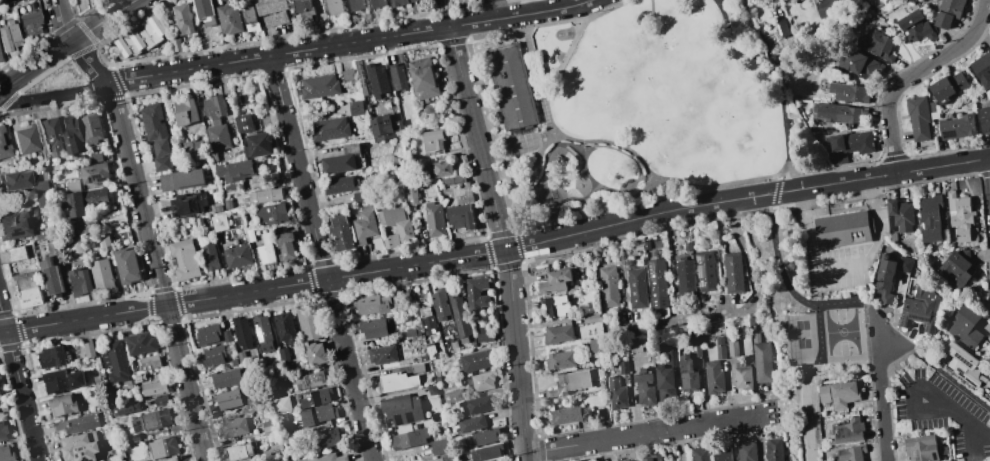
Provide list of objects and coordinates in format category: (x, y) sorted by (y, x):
building: (221, 0)
building: (414, 0)
building: (421, 0)
building: (751, 0)
building: (932, 0)
building: (6, 1)
building: (398, 2)
building: (377, 3)
road: (570, 3)
building: (878, 3)
building: (356, 5)
building: (912, 5)
road: (535, 6)
building: (334, 7)
building: (829, 7)
building: (203, 9)
road: (494, 9)
building: (272, 11)
building: (303, 11)
building: (948, 12)
building: (250, 18)
building: (182, 19)
building: (229, 19)
road: (102, 20)
building: (29, 22)
road: (61, 22)
building: (781, 27)
building: (915, 27)
building: (8, 36)
building: (141, 37)
road: (345, 43)
building: (876, 45)
building: (176, 46)
road: (566, 51)
building: (0, 59)
building: (859, 63)
road: (86, 64)
road: (36, 66)
building: (982, 69)
road: (911, 74)
building: (347, 76)
building: (398, 77)
building: (422, 79)
building: (377, 80)
building: (319, 87)
building: (947, 87)
road: (779, 88)
building: (516, 89)
building: (847, 92)
road: (51, 95)
building: (355, 108)
park: (639, 111)
building: (185, 112)
building: (839, 113)
building: (919, 116)
road: (547, 117)
building: (984, 118)
building: (216, 123)
building: (243, 123)
building: (956, 127)
building: (92, 128)
building: (380, 128)
building: (329, 129)
building: (71, 133)
rooftop solar panel: (948, 135)
building: (51, 136)
building: (156, 137)
rooftop solar panel: (3, 139)
building: (25, 140)
building: (432, 140)
road: (608, 143)
building: (3, 145)
building: (258, 145)
building: (849, 146)
rooftop solar panel: (2, 147)
building: (195, 148)
building: (96, 157)
building: (213, 158)
building: (341, 160)
building: (441, 168)
building: (235, 170)
building: (93, 173)
rooftop solar panel: (97, 178)
road: (859, 179)
building: (14, 180)
building: (181, 180)
building: (452, 180)
building: (42, 185)
building: (342, 185)
building: (657, 187)
building: (233, 188)
road: (640, 192)
building: (411, 193)
building: (266, 195)
building: (360, 196)
building: (83, 198)
building: (44, 200)
building: (227, 204)
building: (187, 205)
building: (271, 213)
building: (460, 216)
building: (899, 216)
building: (929, 217)
building: (960, 217)
building: (433, 219)
building: (198, 222)
building: (219, 222)
road: (616, 222)
building: (396, 225)
building: (364, 226)
building: (19, 227)
building: (842, 230)
rooftop solar panel: (18, 234)
building: (341, 234)
building: (250, 235)
road: (502, 241)
building: (104, 242)
building: (285, 246)
building: (637, 246)
building: (687, 246)
building: (52, 248)
building: (266, 250)
building: (16, 253)
building: (236, 256)
building: (210, 257)
road: (321, 258)
building: (184, 259)
rooftop solar panel: (699, 259)
building: (638, 262)
building: (126, 265)
parking lot: (841, 267)
road: (841, 269)
building: (704, 270)
road: (157, 271)
rooftop solar panel: (651, 271)
building: (954, 271)
rooftop solar panel: (701, 272)
building: (732, 273)
building: (101, 275)
building: (890, 276)
road: (752, 277)
building: (52, 278)
building: (684, 278)
building: (78, 280)
rooftop solar panel: (653, 280)
building: (554, 281)
building: (656, 283)
rooftop solar panel: (701, 285)
building: (608, 286)
building: (636, 288)
building: (27, 290)
road: (252, 290)
building: (476, 294)
road: (858, 301)
building: (371, 304)
building: (440, 304)
building: (556, 305)
building: (921, 309)
park: (805, 312)
building: (458, 317)
building: (590, 319)
rooftop solar panel: (918, 319)
building: (426, 320)
rooftop solar panel: (903, 320)
building: (307, 323)
rooftop solar panel: (907, 325)
rooftop solar panel: (927, 326)
rooftop solar panel: (932, 327)
building: (965, 327)
building: (284, 328)
building: (372, 328)
building: (412, 331)
park: (841, 332)
building: (241, 333)
building: (262, 333)
building: (207, 334)
building: (484, 334)
building: (557, 334)
park: (801, 334)
road: (819, 335)
building: (225, 336)
building: (139, 343)
building: (637, 343)
building: (595, 346)
building: (730, 346)
building: (719, 348)
building: (88, 349)
building: (430, 350)
building: (283, 354)
building: (314, 354)
building: (381, 354)
building: (213, 355)
building: (51, 357)
building: (422, 357)
rooftop solar panel: (959, 357)
building: (241, 358)
building: (761, 359)
building: (559, 360)
building: (115, 361)
building: (475, 361)
building: (149, 362)
building: (233, 362)
building: (962, 364)
building: (623, 366)
building: (416, 368)
building: (689, 370)
rooftop solar panel: (311, 376)
building: (666, 376)
building: (741, 376)
building: (139, 377)
building: (713, 377)
building: (226, 378)
rooftop solar panel: (321, 379)
building: (62, 380)
building: (96, 380)
building: (308, 381)
building: (482, 381)
rooftop solar panel: (305, 382)
building: (395, 382)
building: (569, 383)
building: (125, 385)
road: (18, 386)
building: (154, 388)
building: (644, 389)
building: (432, 390)
building: (839, 393)
building: (615, 394)
building: (453, 396)
building: (314, 397)
road: (882, 397)
building: (227, 399)
building: (160, 400)
building: (250, 400)
road: (782, 401)
building: (280, 403)
building: (62, 405)
building: (118, 405)
building: (477, 405)
building: (402, 408)
road: (807, 412)
road: (915, 413)
parking lot: (944, 413)
road: (956, 413)
building: (318, 414)
building: (601, 414)
building: (565, 415)
building: (284, 420)
building: (151, 421)
building: (77, 424)
building: (471, 424)
building: (269, 426)
building: (233, 427)
park: (805, 428)
building: (3, 431)
building: (850, 431)
road: (643, 434)
building: (484, 436)
building: (130, 438)
building: (326, 438)
building: (408, 439)
road: (975, 442)
road: (680, 444)
building: (439, 447)
building: (78, 448)
building: (162, 448)
building: (921, 448)
rooftop solar panel: (81, 449)
building: (773, 449)
building: (238, 451)
building: (488, 451)
building: (746, 451)
building: (6, 453)
building: (721, 453)
building: (851, 453)
rooftop solar panel: (83, 454)
building: (700, 454)
rooftop solar panel: (916, 454)
rooftop solar panel: (77, 457)
building: (327, 458)
building: (447, 458)
building: (647, 459)
building: (107, 460)

